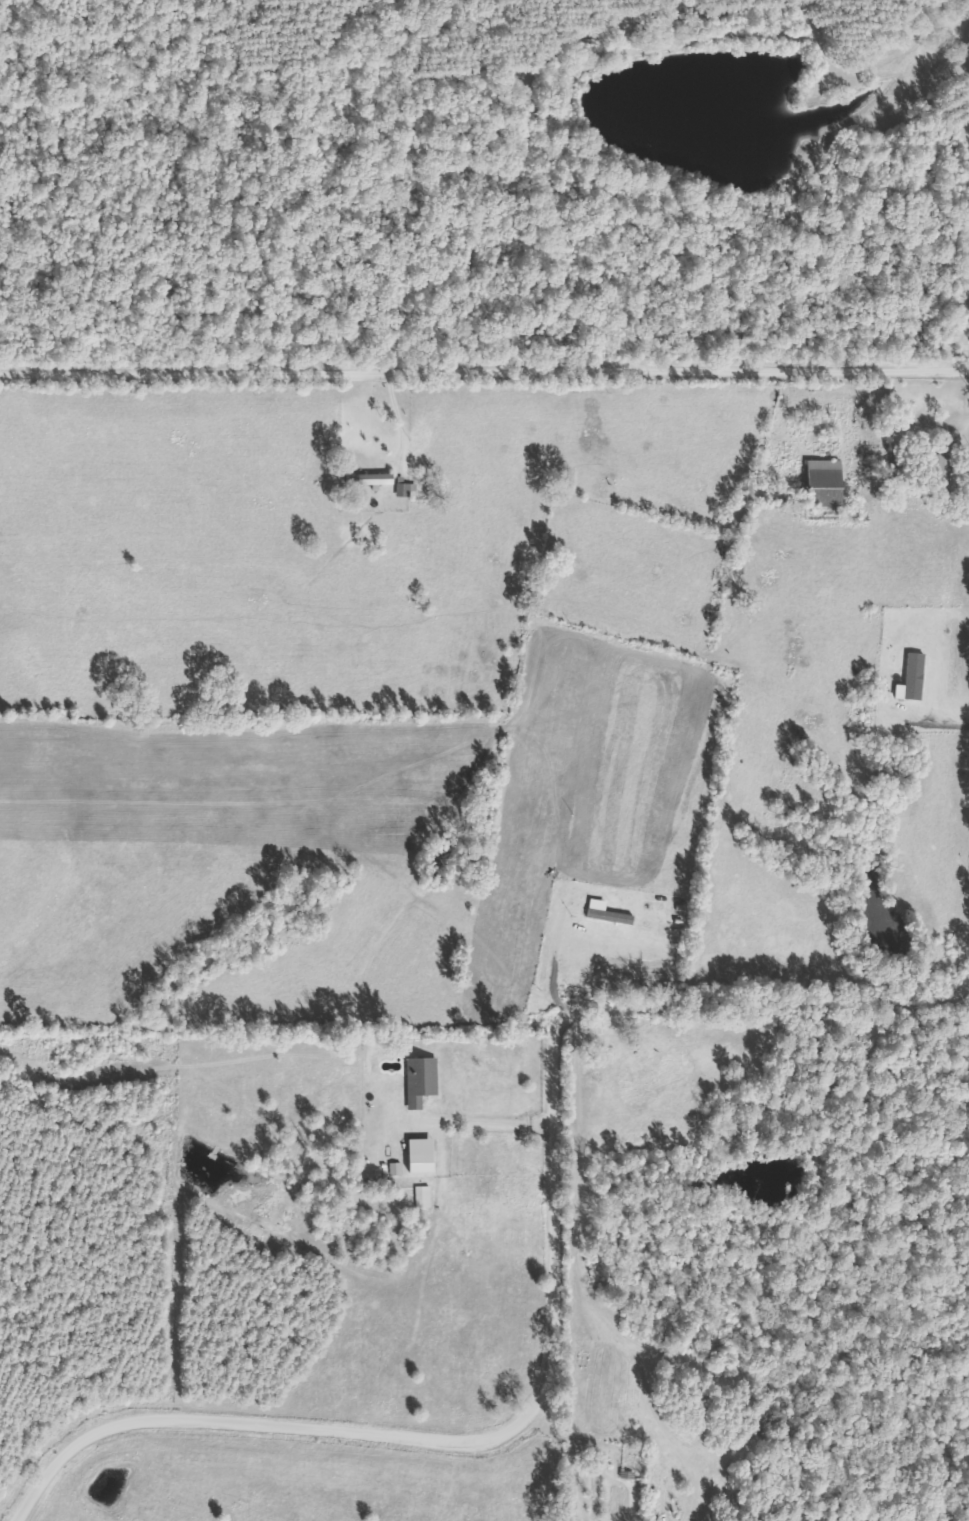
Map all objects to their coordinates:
road: (484, 369)
building: (372, 480)
building: (829, 483)
building: (407, 490)
building: (918, 676)
building: (610, 913)
building: (424, 1080)
building: (424, 1155)
building: (426, 1197)
road: (555, 1297)

